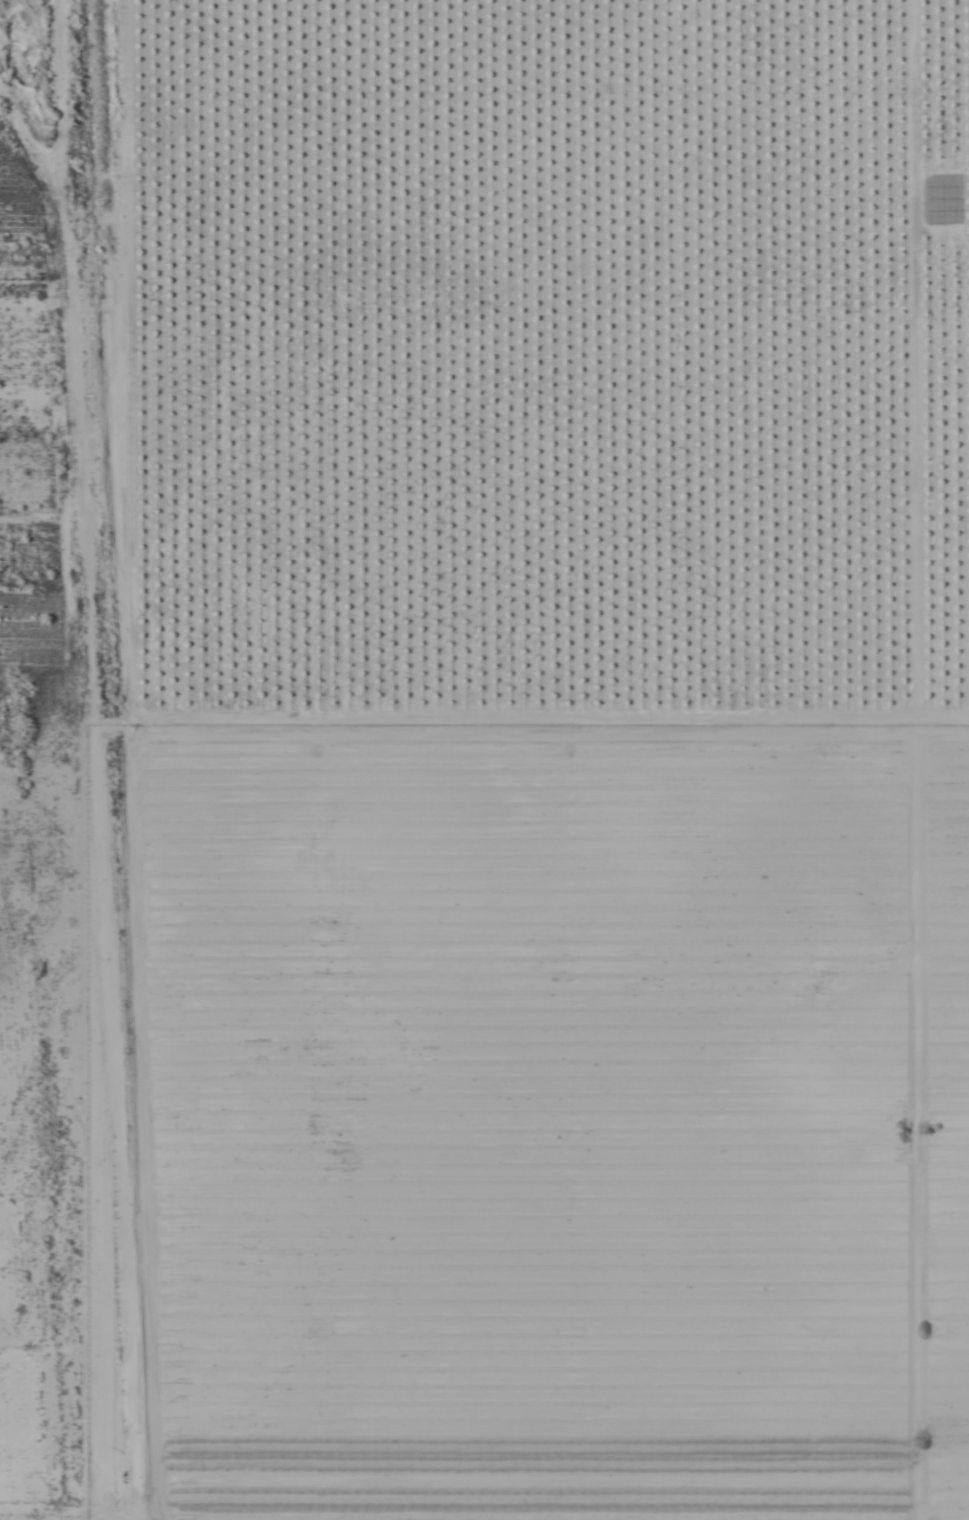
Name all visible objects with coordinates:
building: (939, 190)

